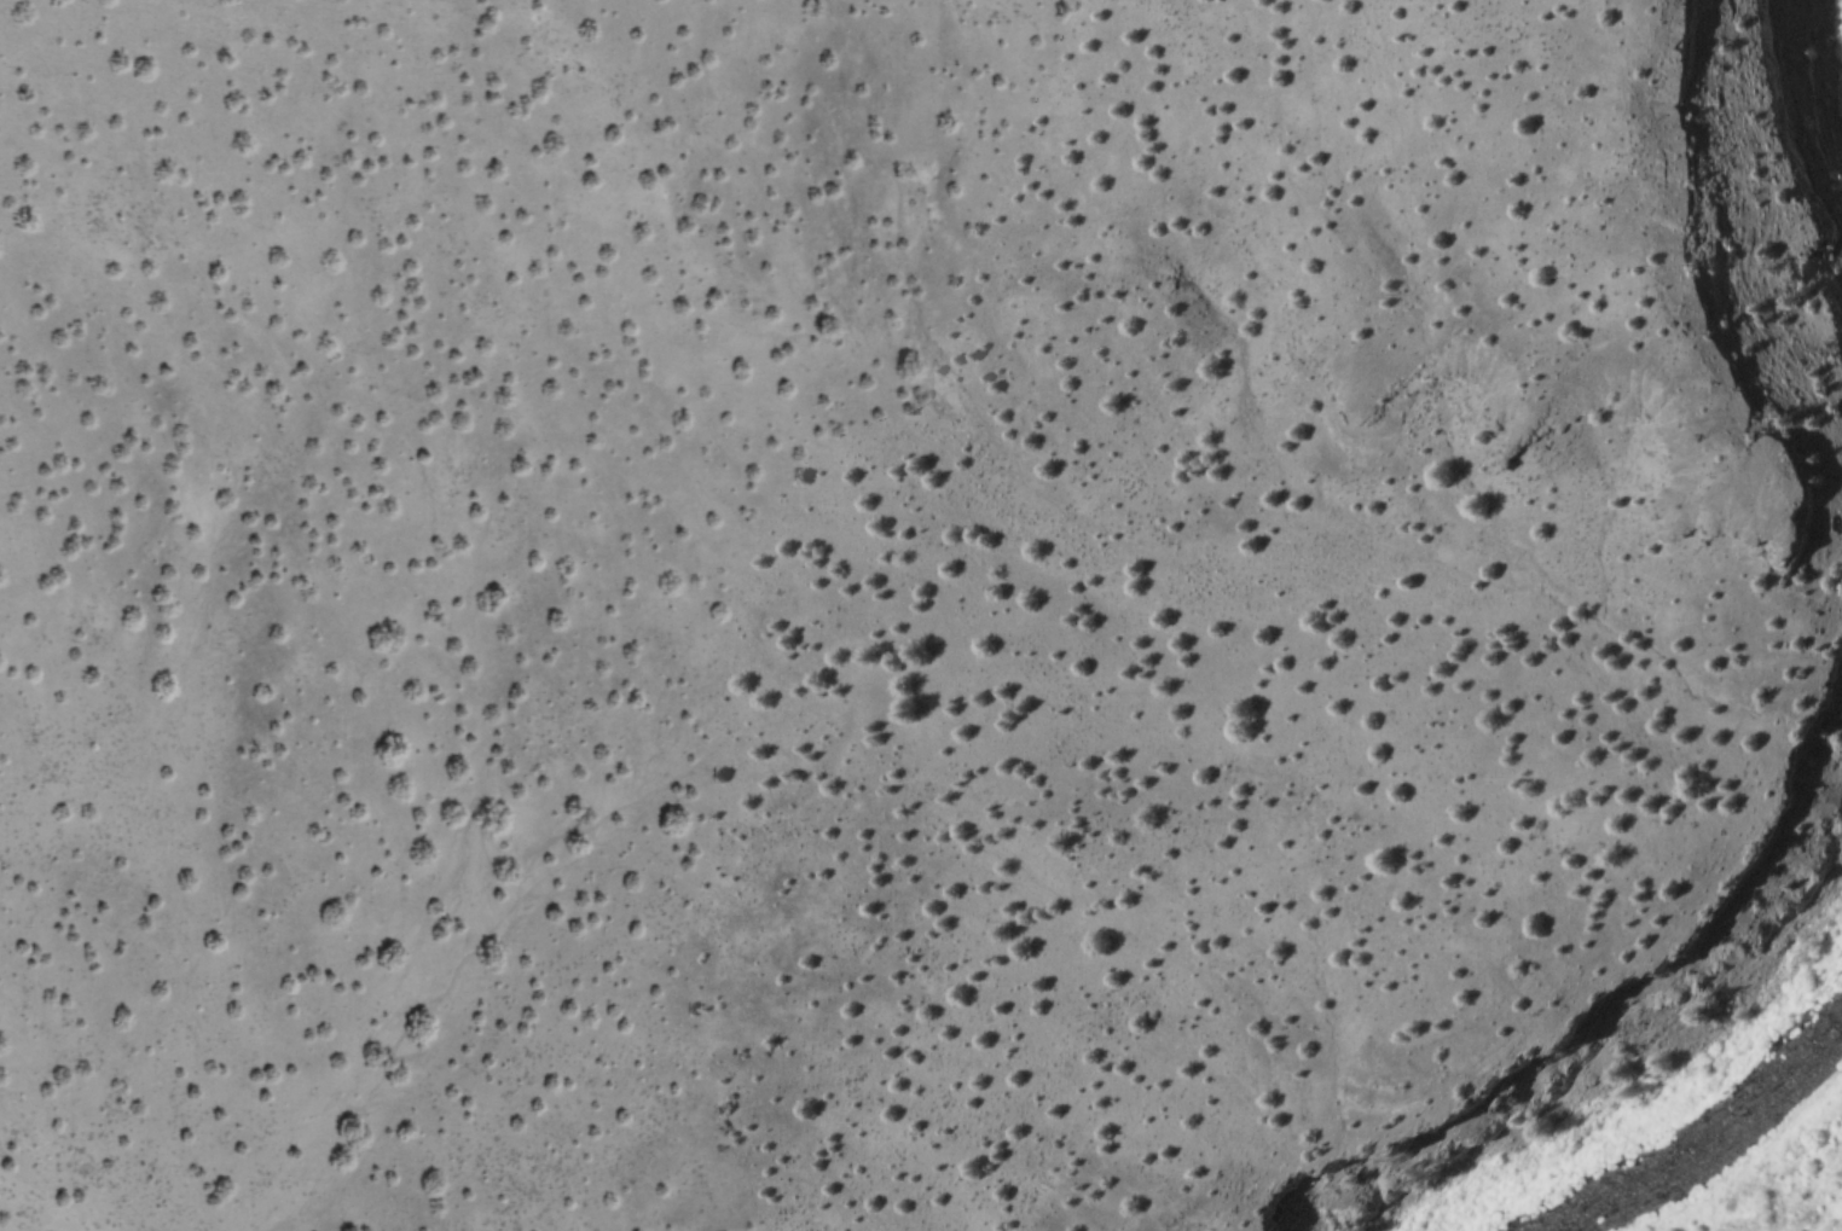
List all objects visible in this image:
river: (1701, 1133)

